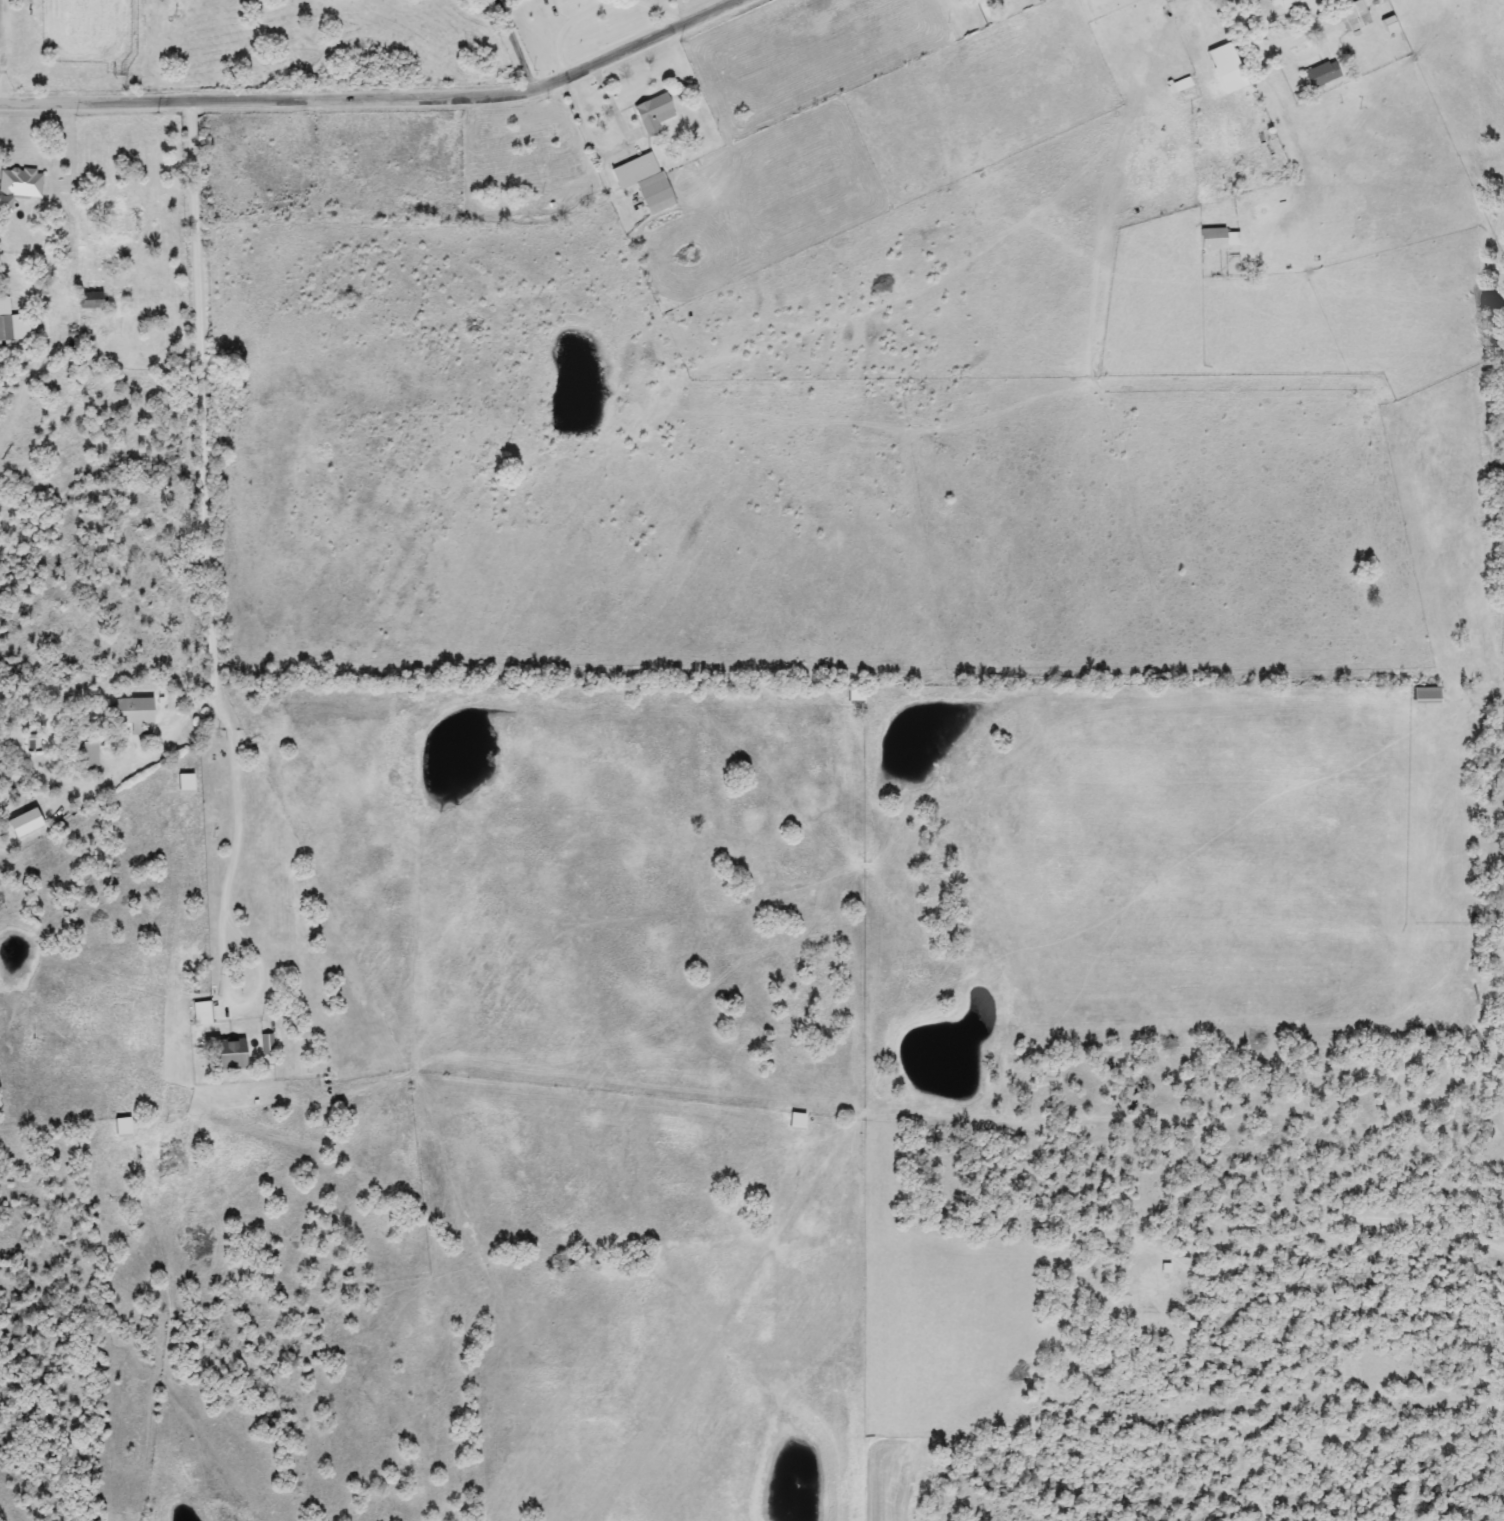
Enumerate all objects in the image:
building: (1283, 3)
building: (1352, 16)
road: (1097, 19)
building: (1303, 19)
road: (516, 42)
road: (1265, 46)
building: (1226, 73)
building: (1319, 75)
building: (1179, 85)
road: (376, 95)
road: (616, 103)
building: (652, 113)
building: (643, 182)
building: (18, 186)
road: (535, 196)
building: (1218, 239)
building: (11, 324)
road: (206, 505)
building: (1423, 695)
building: (132, 712)
building: (89, 754)
road: (156, 757)
building: (183, 783)
road: (228, 982)
building: (225, 1054)
building: (794, 1122)
building: (120, 1127)
building: (170, 1158)
road: (1339, 1222)

